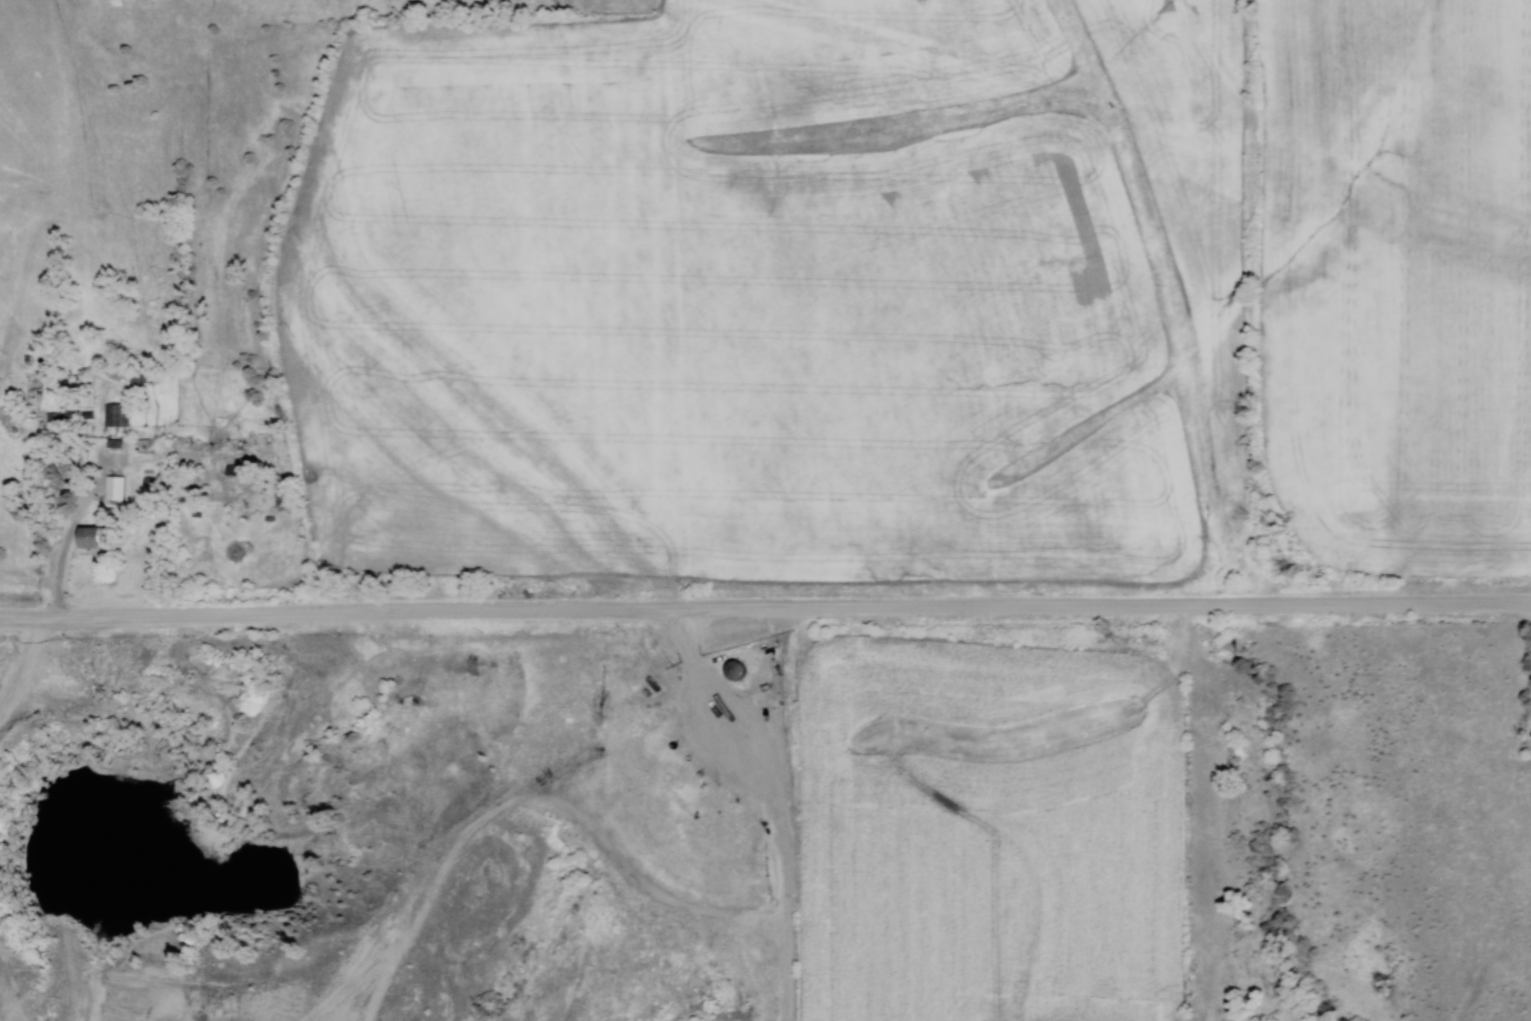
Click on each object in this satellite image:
building: (138, 376)
building: (32, 382)
building: (114, 415)
building: (51, 416)
building: (113, 487)
road: (76, 513)
building: (90, 538)
road: (765, 604)
building: (733, 671)
building: (601, 681)
crop: (987, 832)

